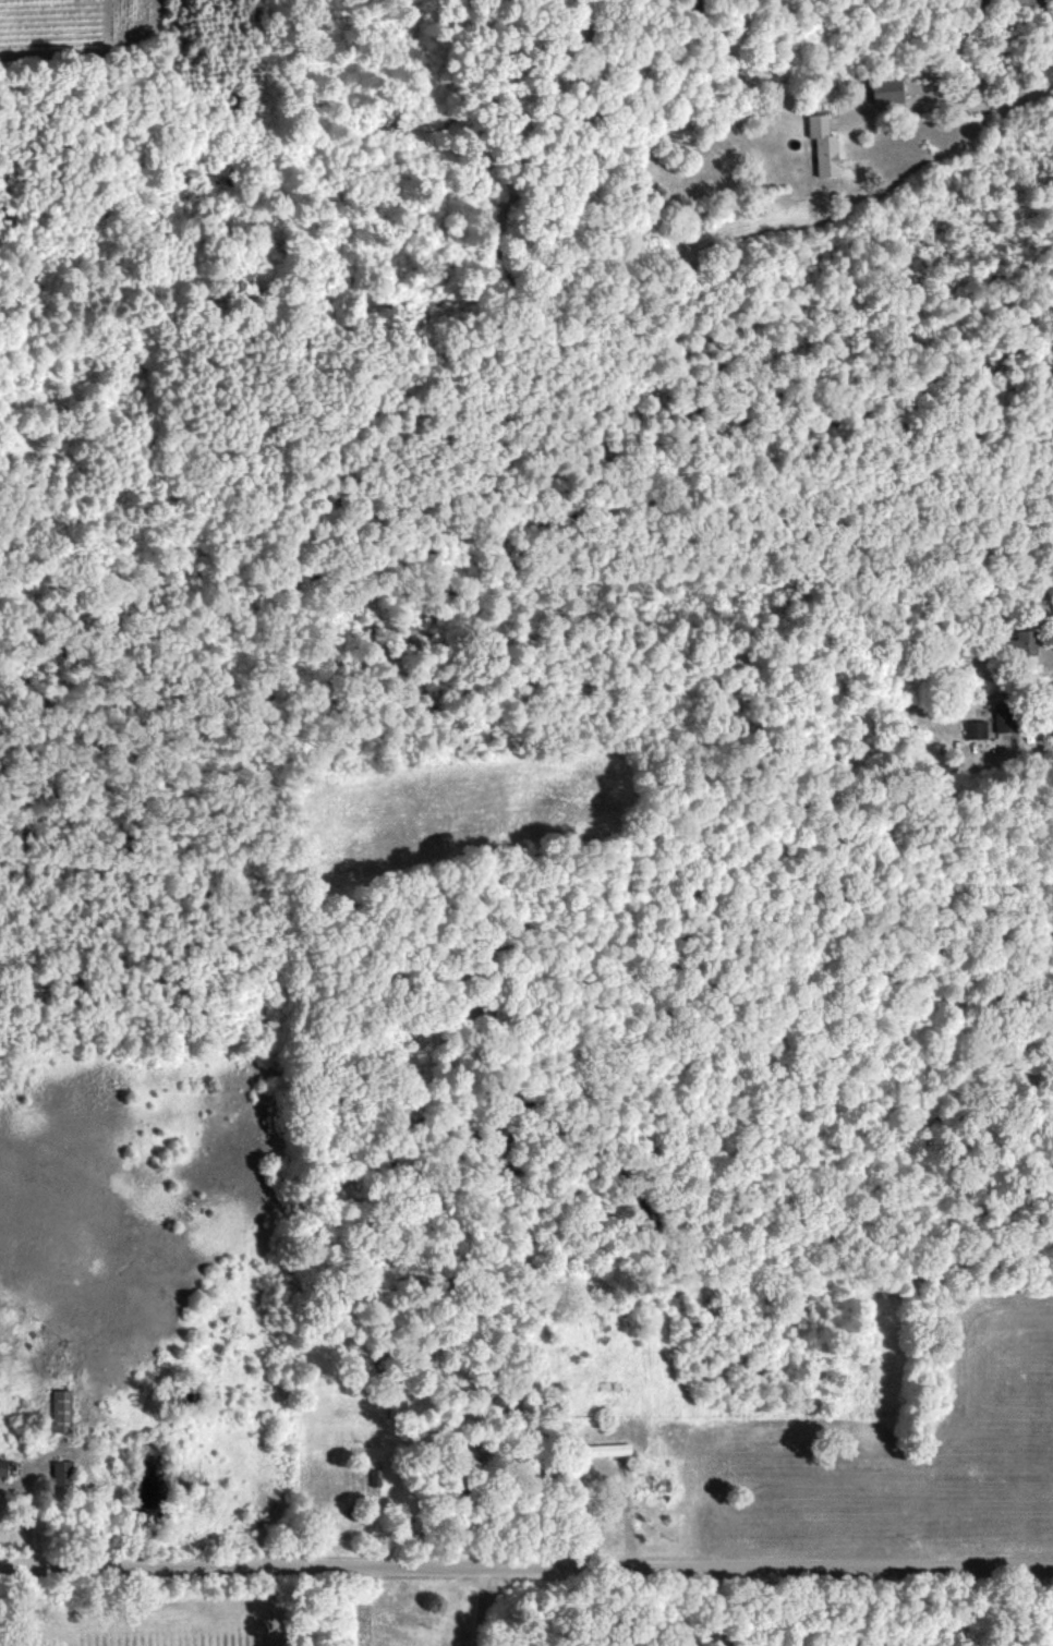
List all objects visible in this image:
building: (884, 90)
road: (948, 104)
building: (821, 145)
building: (1019, 642)
building: (972, 728)
road: (1039, 752)
building: (59, 1409)
building: (1, 1467)
building: (60, 1472)
building: (373, 1476)
road: (526, 1564)
road: (482, 1605)

